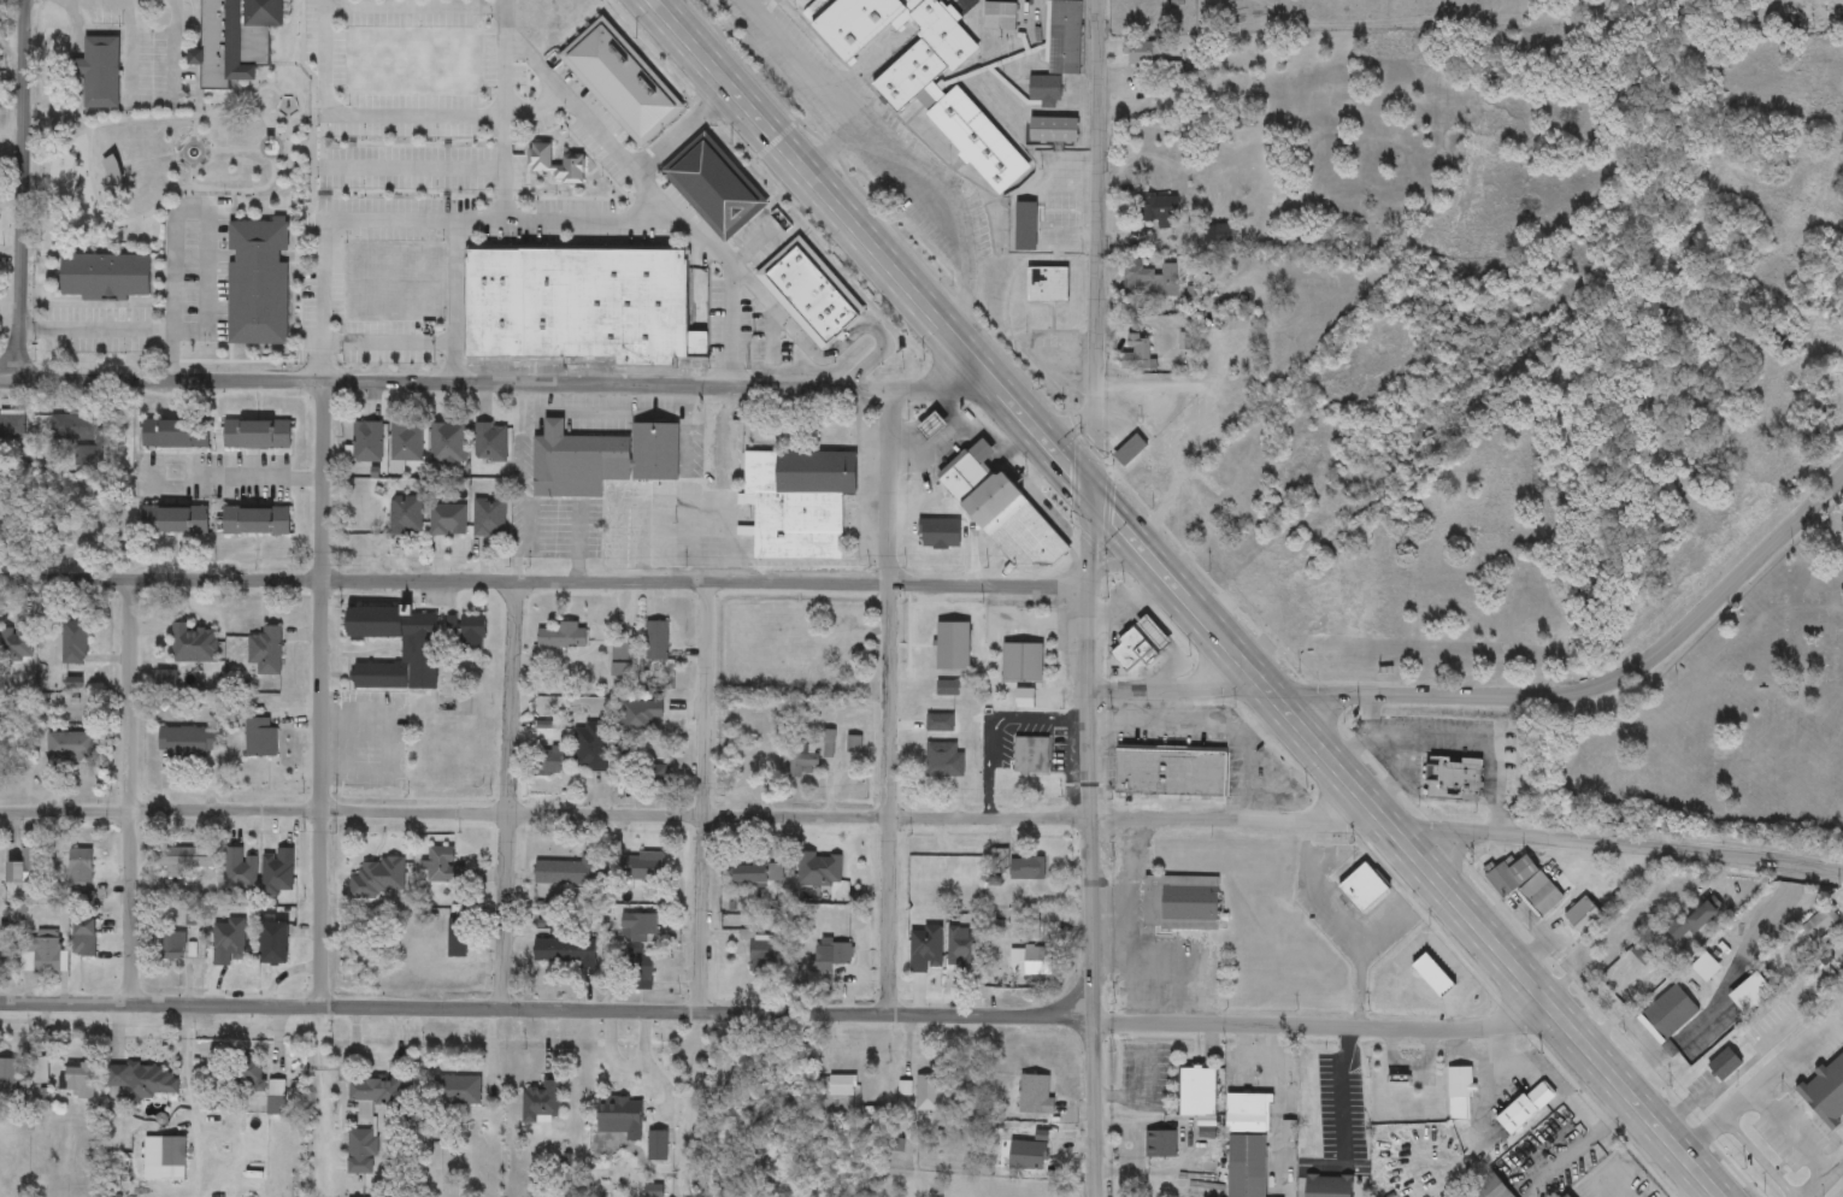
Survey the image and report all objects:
building: (799, 4)
building: (518, 5)
road: (404, 7)
building: (1064, 37)
building: (236, 40)
road: (324, 51)
building: (1143, 54)
road: (802, 63)
road: (540, 66)
building: (99, 72)
building: (921, 73)
road: (504, 85)
building: (1044, 92)
road: (151, 99)
road: (410, 116)
building: (1053, 130)
park: (172, 160)
road: (643, 165)
road: (504, 167)
road: (413, 169)
building: (112, 171)
road: (19, 191)
road: (920, 193)
building: (1161, 208)
road: (172, 214)
road: (526, 218)
road: (871, 247)
road: (1100, 247)
building: (781, 271)
building: (105, 277)
building: (1150, 282)
building: (258, 283)
building: (1048, 285)
road: (728, 287)
building: (805, 288)
road: (454, 299)
building: (577, 305)
road: (95, 330)
road: (797, 336)
road: (389, 341)
building: (1138, 354)
road: (870, 359)
road: (495, 381)
road: (1064, 423)
building: (12, 426)
building: (73, 426)
building: (175, 434)
building: (255, 435)
building: (447, 438)
building: (406, 442)
road: (723, 442)
building: (367, 443)
building: (490, 443)
building: (722, 448)
building: (1129, 453)
building: (602, 460)
building: (1219, 472)
road: (193, 476)
road: (518, 484)
building: (1156, 493)
traffic signals: (1091, 495)
road: (708, 500)
building: (799, 502)
building: (1002, 512)
building: (405, 518)
building: (488, 519)
building: (173, 520)
building: (447, 520)
building: (255, 521)
building: (1200, 521)
building: (58, 524)
building: (938, 535)
road: (577, 544)
road: (1114, 562)
road: (544, 584)
road: (320, 613)
building: (930, 631)
building: (465, 633)
building: (563, 637)
building: (16, 642)
building: (656, 642)
building: (73, 643)
building: (194, 644)
building: (1140, 645)
building: (265, 651)
building: (419, 651)
building: (620, 659)
building: (1021, 664)
road: (1174, 688)
building: (947, 689)
road: (1591, 690)
road: (891, 697)
building: (1025, 701)
road: (1199, 707)
road: (1371, 714)
building: (640, 715)
building: (938, 724)
park: (1721, 724)
road: (996, 726)
road: (1187, 726)
building: (260, 738)
road: (1453, 739)
building: (187, 743)
building: (70, 747)
building: (590, 748)
building: (1031, 756)
road: (1087, 757)
building: (802, 761)
building: (943, 762)
building: (547, 763)
building: (644, 772)
building: (1171, 773)
road: (1252, 773)
road: (1401, 776)
building: (1454, 780)
road: (129, 794)
road: (508, 795)
road: (705, 797)
road: (693, 815)
road: (1406, 844)
road: (1615, 845)
building: (183, 865)
building: (81, 867)
building: (442, 867)
building: (646, 867)
building: (958, 868)
building: (27, 869)
building: (814, 869)
building: (1028, 869)
building: (277, 872)
building: (567, 872)
building: (240, 873)
building: (754, 874)
building: (378, 879)
building: (1525, 885)
building: (1364, 890)
building: (1180, 901)
building: (1583, 918)
building: (1695, 921)
building: (1820, 924)
building: (637, 927)
road: (1346, 936)
building: (83, 937)
building: (457, 938)
building: (275, 943)
building: (226, 944)
building: (173, 945)
building: (925, 949)
building: (962, 950)
building: (564, 951)
building: (760, 953)
building: (41, 954)
building: (828, 961)
building: (638, 966)
building: (1432, 975)
road: (1723, 986)
road: (1360, 989)
road: (548, 1007)
building: (1667, 1014)
road: (1330, 1024)
road: (1271, 1063)
building: (1725, 1065)
building: (40, 1071)
building: (249, 1073)
building: (7, 1077)
building: (77, 1080)
building: (148, 1081)
road: (1501, 1084)
building: (841, 1086)
road: (1352, 1086)
road: (1754, 1086)
building: (455, 1091)
building: (1826, 1091)
building: (1197, 1092)
road: (190, 1093)
building: (378, 1093)
building: (928, 1093)
building: (1459, 1093)
building: (275, 1097)
building: (1037, 1097)
building: (541, 1102)
building: (1526, 1108)
road: (1095, 1109)
building: (1247, 1109)
building: (620, 1118)
road: (1791, 1128)
road: (1586, 1143)
building: (1159, 1145)
building: (361, 1152)
building: (1046, 1152)
building: (165, 1155)
building: (1247, 1166)
road: (1823, 1175)
building: (1329, 1186)
road: (1624, 1186)
building: (1490, 1189)
road: (1700, 1190)

